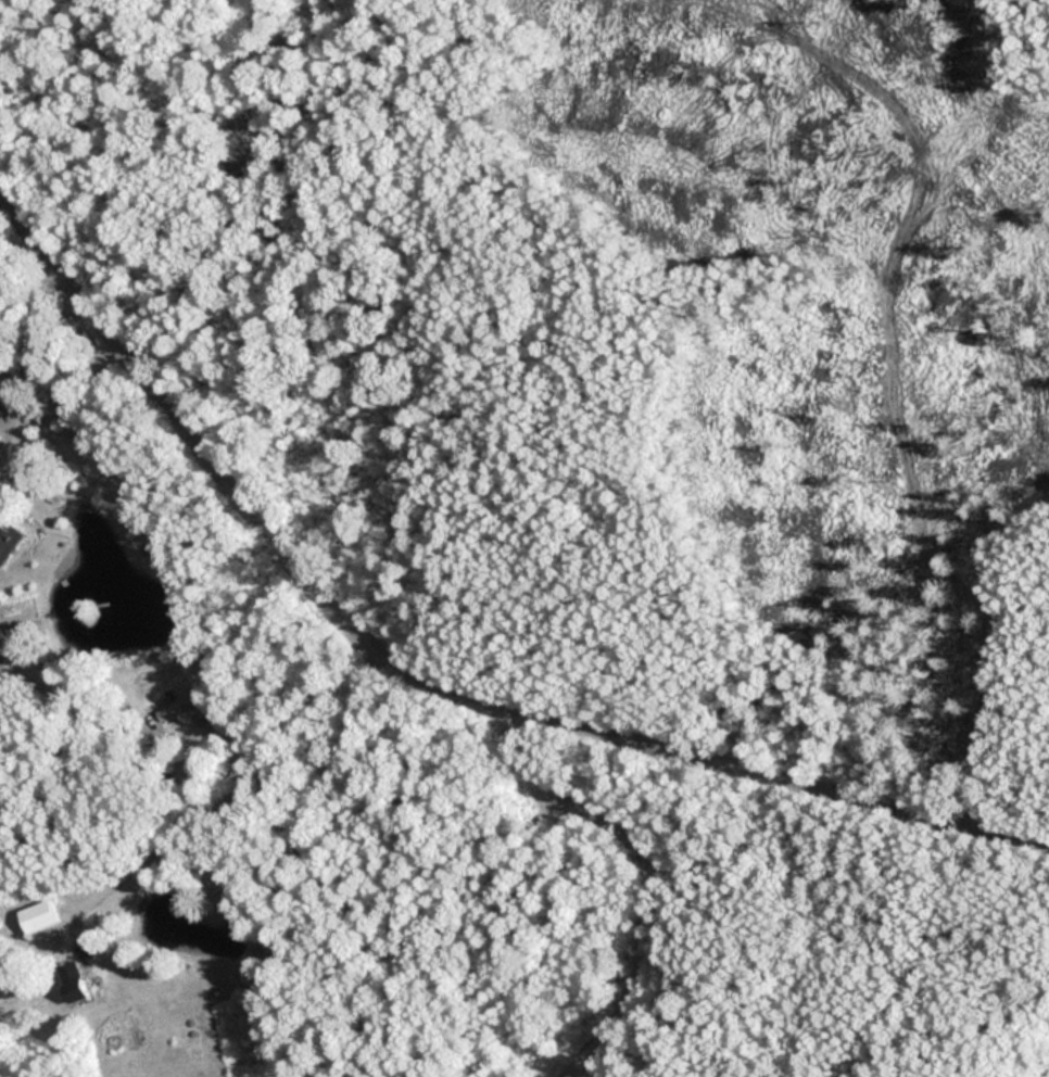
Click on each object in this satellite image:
park: (721, 536)
building: (8, 540)
road: (426, 681)
building: (177, 706)
road: (603, 860)
building: (37, 916)
building: (72, 980)
road: (561, 1050)

